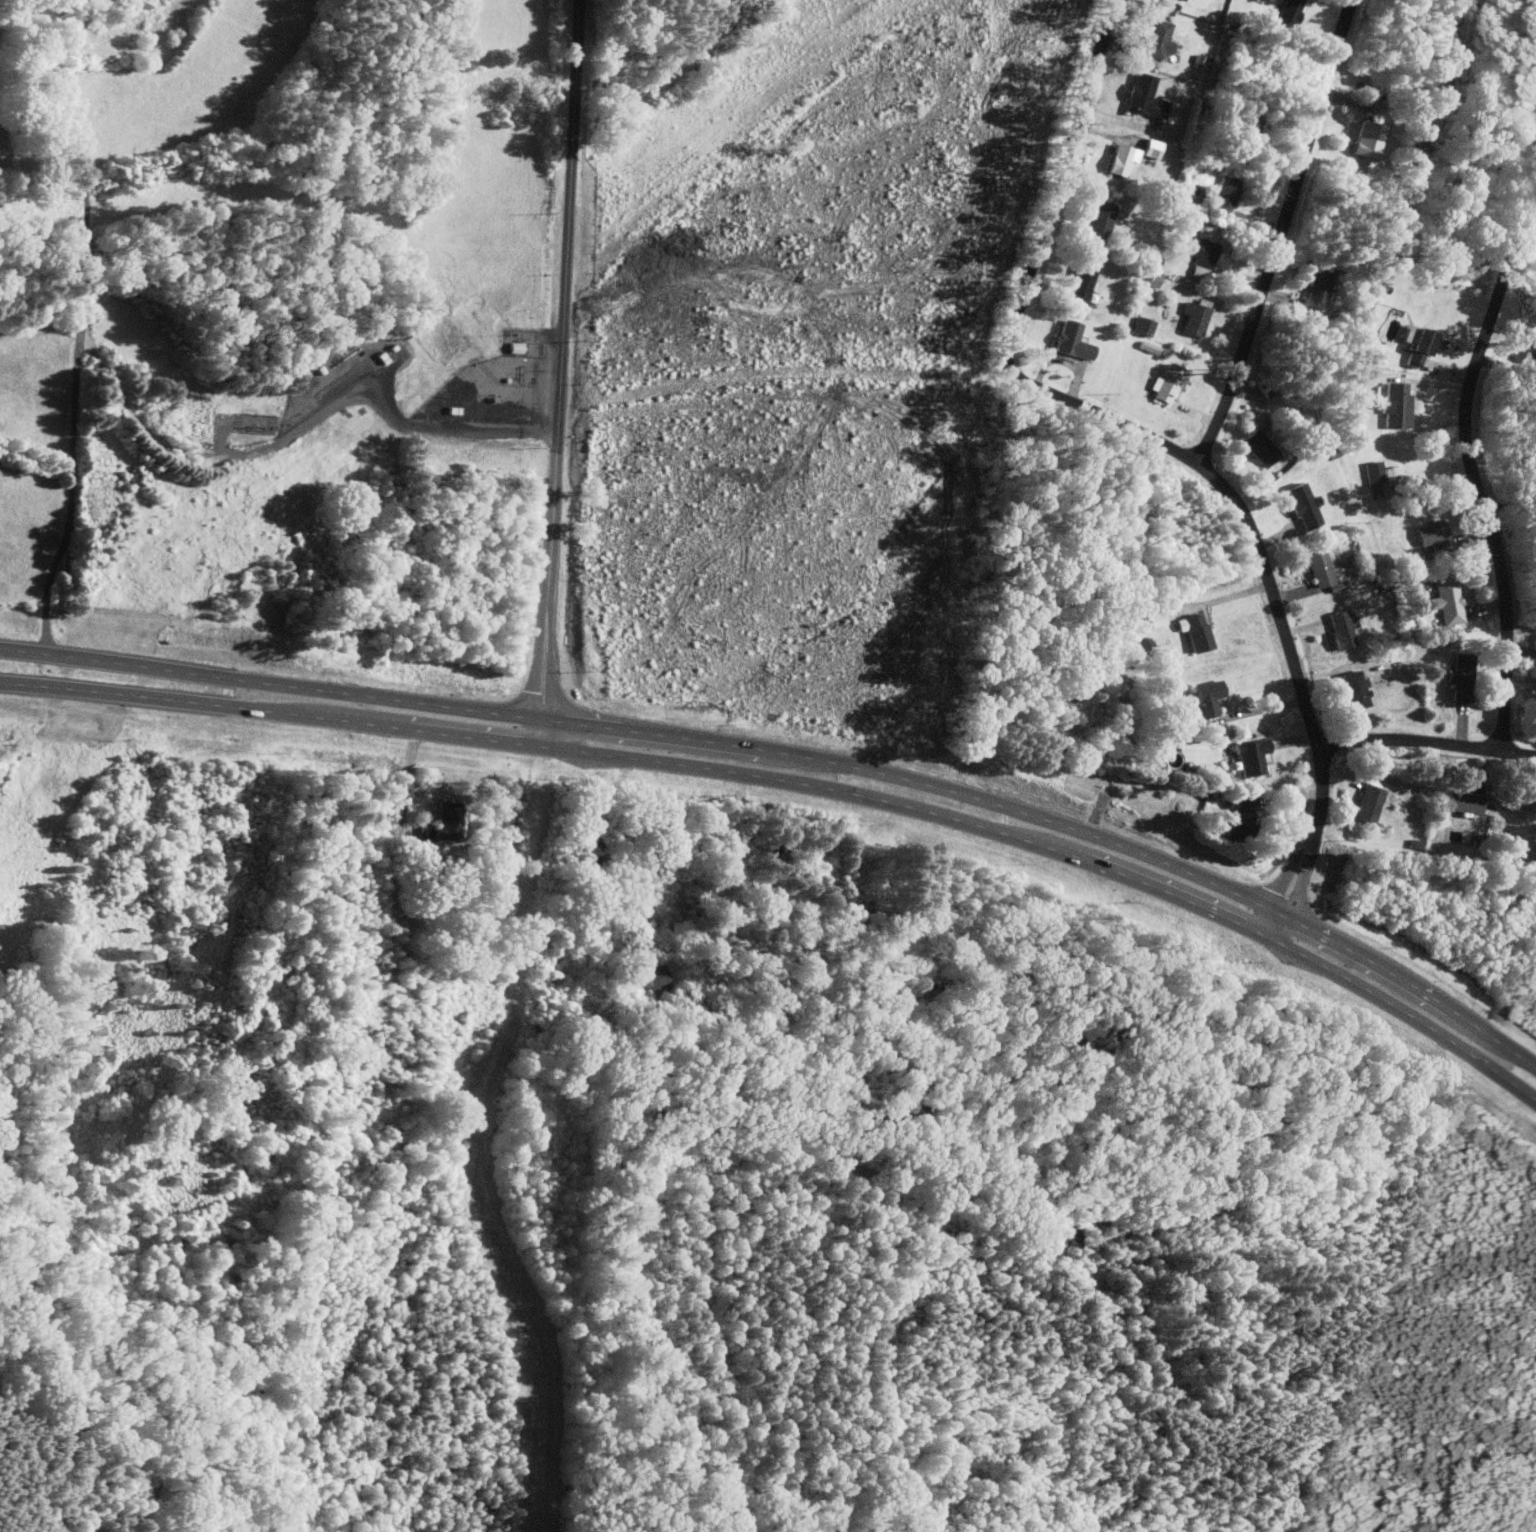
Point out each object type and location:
building: (1179, 0)
building: (1154, 39)
building: (1142, 96)
building: (1365, 137)
building: (1148, 148)
building: (1118, 159)
building: (1222, 195)
building: (1097, 219)
road: (1279, 233)
building: (1198, 251)
building: (1077, 282)
building: (1311, 294)
road: (77, 319)
building: (1191, 319)
building: (1140, 327)
building: (1070, 342)
building: (1414, 345)
building: (511, 347)
road: (559, 373)
building: (1167, 384)
building: (1394, 406)
road: (455, 427)
road: (1161, 442)
building: (1256, 448)
road: (1471, 461)
building: (1377, 472)
building: (1299, 504)
building: (1429, 534)
building: (1316, 567)
building: (1333, 586)
building: (1445, 600)
building: (1337, 628)
building: (1192, 630)
building: (1459, 677)
road: (273, 682)
building: (1351, 689)
building: (1204, 697)
road: (272, 710)
road: (1426, 742)
building: (1248, 756)
road: (921, 782)
building: (1460, 801)
building: (1366, 803)
road: (914, 807)
building: (1239, 818)
building: (439, 820)
building: (652, 977)
road: (1410, 984)
road: (1405, 1012)
building: (1072, 1236)

